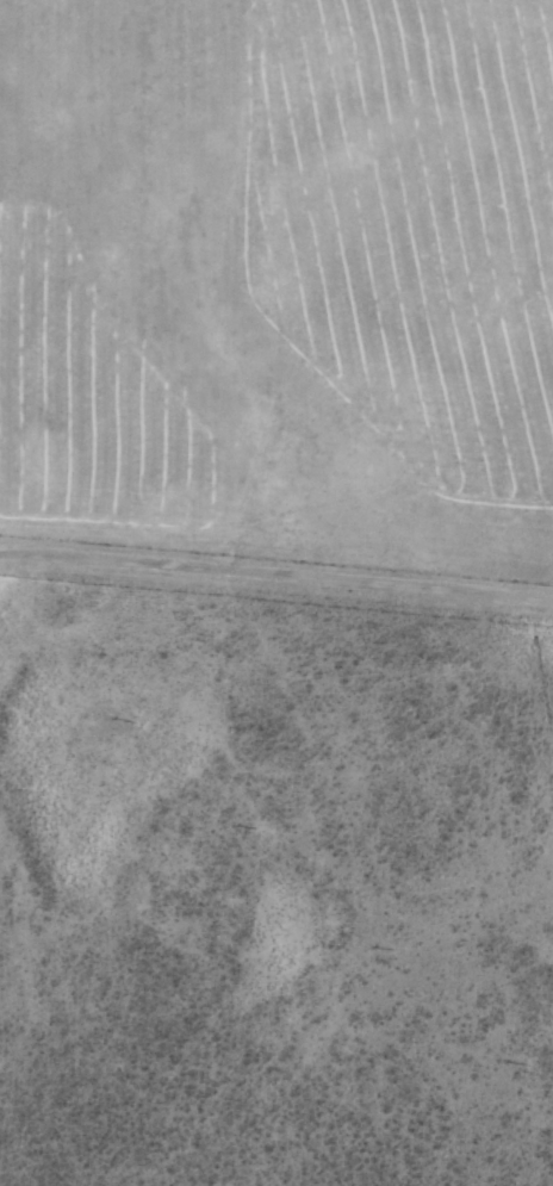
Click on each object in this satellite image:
crop: (281, 298)
road: (276, 579)

